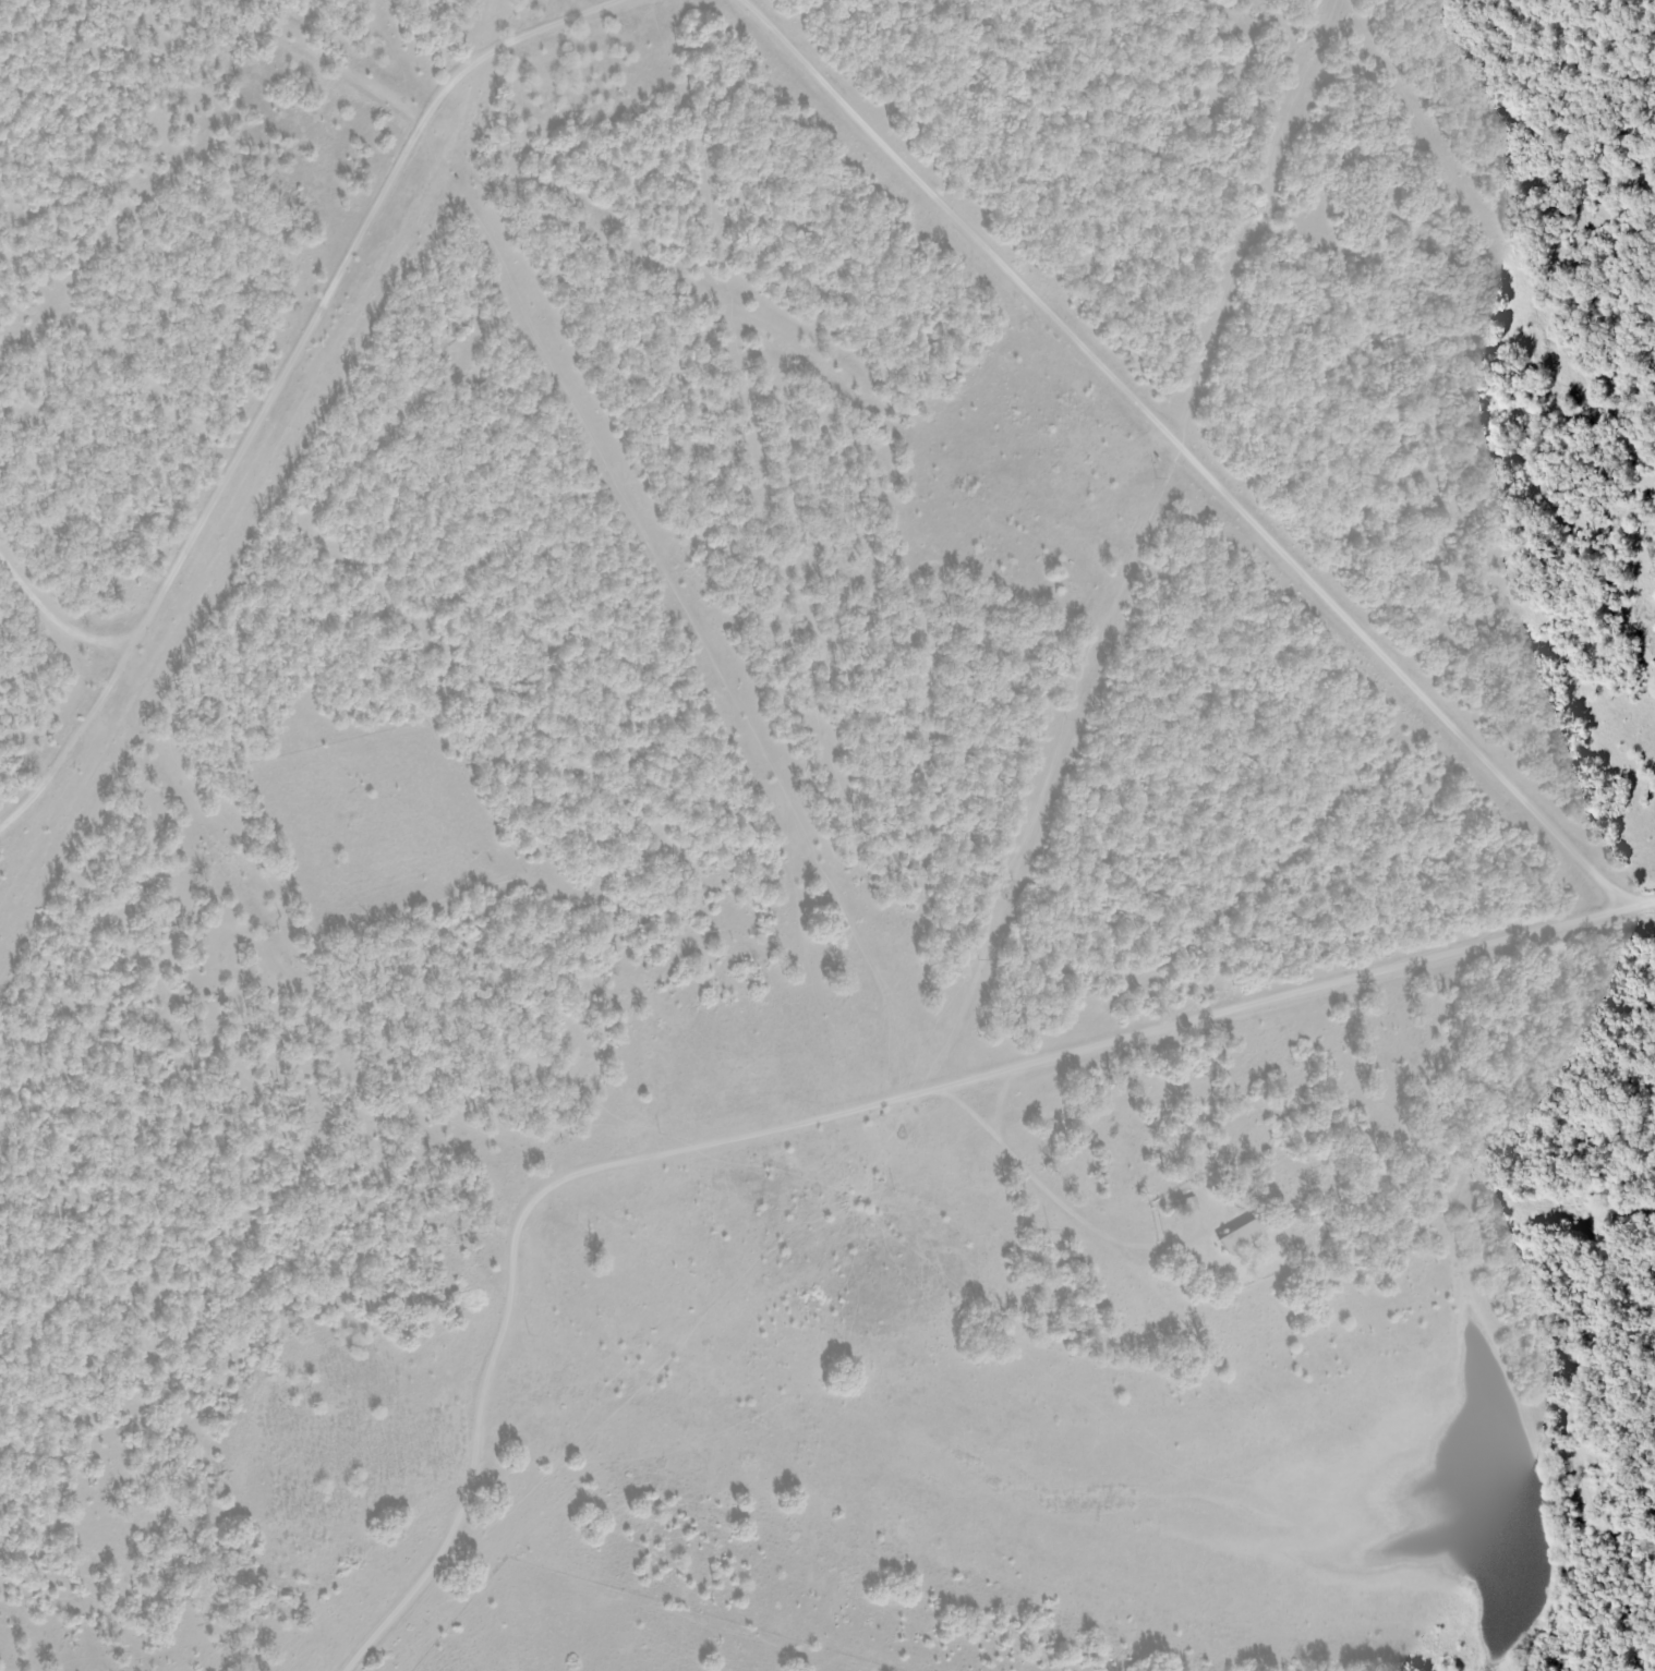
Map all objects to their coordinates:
building: (1239, 1235)

